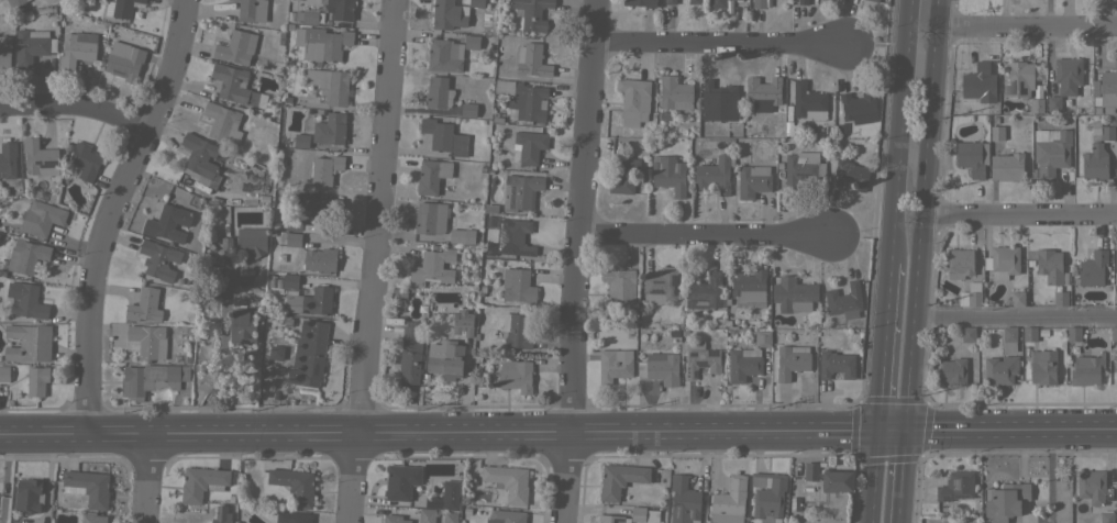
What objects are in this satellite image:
building: (874, 0)
building: (670, 1)
building: (694, 1)
building: (14, 2)
building: (640, 2)
building: (803, 2)
building: (476, 3)
building: (718, 3)
building: (759, 3)
building: (120, 8)
building: (340, 9)
building: (252, 10)
building: (531, 13)
building: (449, 14)
building: (309, 16)
road: (1027, 25)
building: (472, 42)
building: (322, 43)
road: (716, 43)
building: (32, 45)
building: (235, 47)
building: (77, 48)
building: (4, 51)
building: (443, 55)
building: (531, 59)
building: (124, 60)
building: (1068, 75)
building: (1018, 79)
building: (978, 82)
building: (233, 84)
building: (330, 85)
building: (1094, 88)
building: (1107, 88)
building: (438, 92)
building: (675, 92)
building: (763, 93)
building: (523, 100)
building: (633, 100)
building: (718, 101)
building: (808, 102)
building: (1053, 103)
building: (1068, 104)
building: (1036, 105)
road: (76, 107)
building: (859, 107)
building: (468, 110)
building: (1106, 110)
building: (1095, 111)
building: (994, 120)
building: (1116, 120)
building: (222, 122)
building: (330, 129)
road: (897, 131)
building: (1094, 131)
building: (997, 132)
building: (1107, 132)
building: (443, 136)
building: (300, 140)
building: (528, 146)
building: (1051, 153)
building: (199, 156)
building: (38, 157)
building: (970, 157)
building: (8, 158)
rooftop solar panel: (36, 160)
building: (82, 162)
building: (1094, 163)
rooftop solar panel: (47, 164)
building: (1006, 166)
building: (324, 168)
building: (801, 168)
rooftop solar panel: (29, 169)
building: (623, 174)
building: (668, 174)
building: (850, 174)
building: (431, 175)
building: (714, 175)
building: (241, 180)
building: (752, 180)
building: (519, 191)
building: (318, 203)
road: (111, 212)
road: (924, 215)
road: (1020, 216)
building: (42, 218)
building: (429, 218)
road: (582, 218)
building: (168, 223)
building: (294, 223)
road: (701, 232)
rooftop solar panel: (502, 234)
building: (456, 235)
building: (513, 236)
building: (292, 238)
building: (252, 241)
rooftop solar panel: (510, 249)
rooftop solar panel: (527, 253)
building: (26, 256)
building: (158, 259)
building: (320, 259)
road: (371, 261)
building: (1002, 261)
building: (959, 263)
building: (434, 266)
building: (1050, 266)
building: (1115, 266)
building: (1094, 268)
building: (290, 280)
building: (619, 285)
building: (661, 286)
building: (520, 287)
building: (748, 288)
building: (705, 292)
building: (792, 294)
building: (973, 298)
building: (1060, 298)
building: (1017, 299)
building: (308, 300)
building: (27, 301)
building: (843, 301)
building: (144, 305)
road: (1017, 315)
building: (463, 322)
building: (243, 324)
building: (515, 330)
building: (967, 333)
building: (1029, 333)
building: (1073, 333)
building: (1114, 333)
building: (762, 337)
building: (1009, 338)
building: (148, 341)
building: (27, 342)
road: (882, 347)
building: (312, 350)
building: (410, 352)
building: (698, 357)
building: (446, 359)
building: (1116, 359)
building: (790, 360)
building: (615, 364)
building: (743, 364)
building: (836, 364)
building: (1042, 366)
building: (662, 367)
building: (999, 369)
building: (1086, 369)
building: (952, 370)
building: (4, 372)
building: (1115, 372)
building: (516, 375)
building: (151, 379)
building: (36, 380)
traffic signals: (908, 432)
road: (1013, 432)
traffic signals: (876, 433)
road: (454, 434)
building: (810, 470)
road: (870, 477)
road: (903, 477)
road: (1049, 477)
road: (148, 478)
road: (565, 479)
building: (619, 479)
building: (401, 480)
building: (837, 480)
building: (508, 481)
building: (201, 482)
building: (294, 485)
building: (955, 486)
building: (1092, 486)
building: (88, 487)
building: (27, 494)
building: (767, 496)
building: (445, 497)
building: (683, 500)
building: (1005, 500)
building: (729, 501)
building: (221, 514)
building: (427, 515)
building: (632, 515)
building: (292, 516)
building: (450, 516)
building: (506, 516)
building: (1106, 516)
building: (93, 518)
building: (394, 519)

